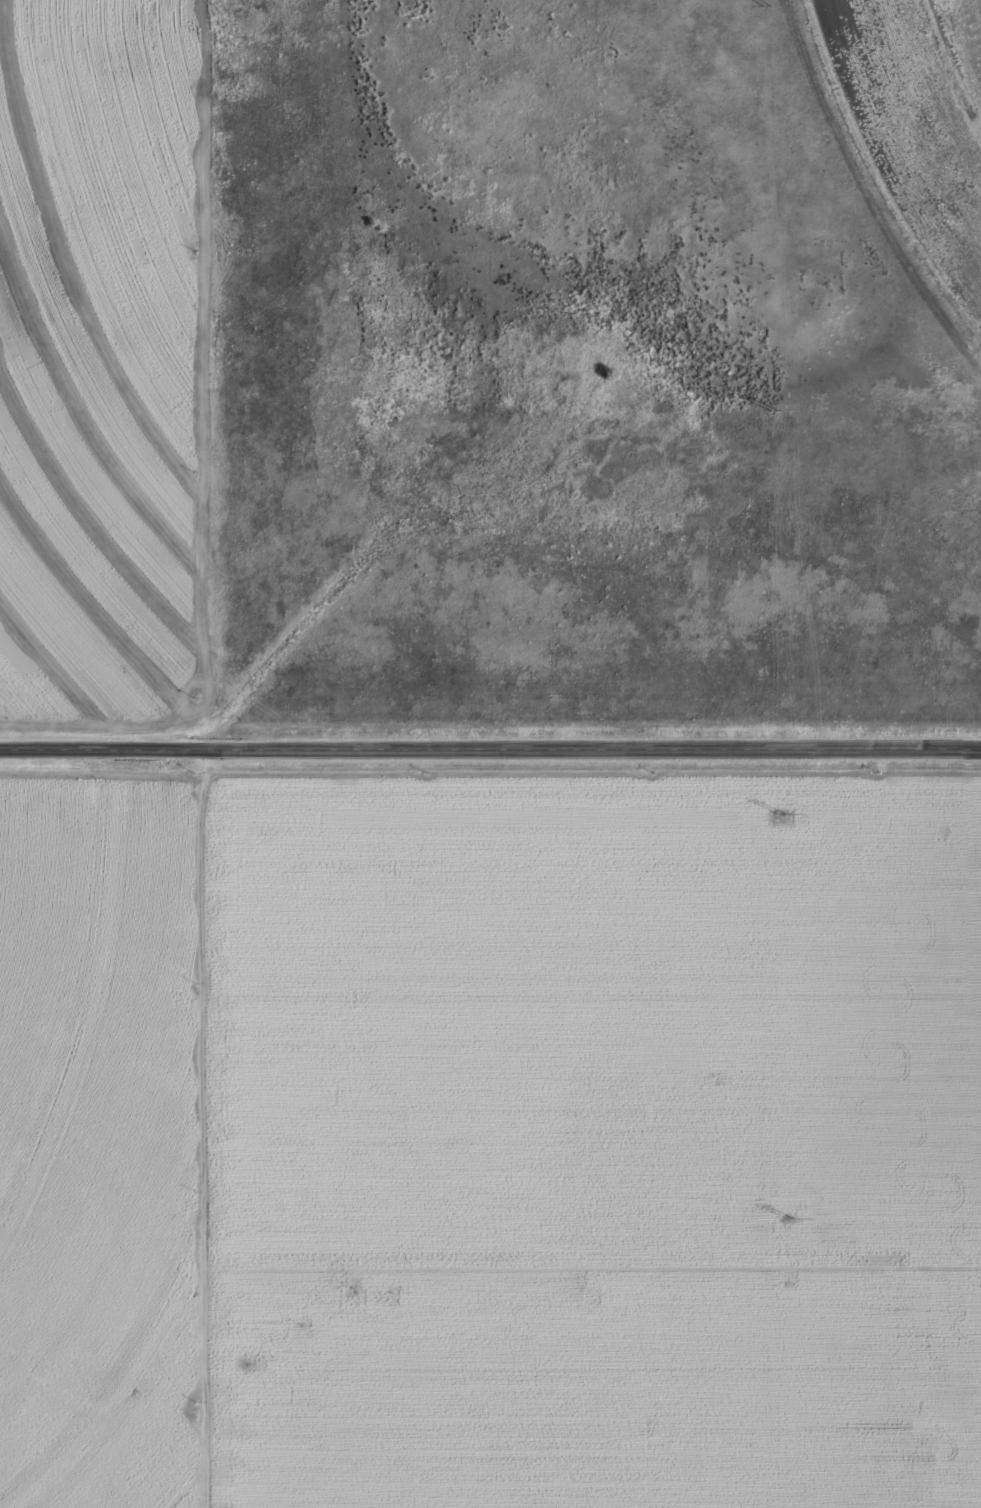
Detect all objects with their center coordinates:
power tower: (770, 5)
power tower: (777, 409)
road: (490, 745)
power tower: (785, 814)
power tower: (793, 1220)

